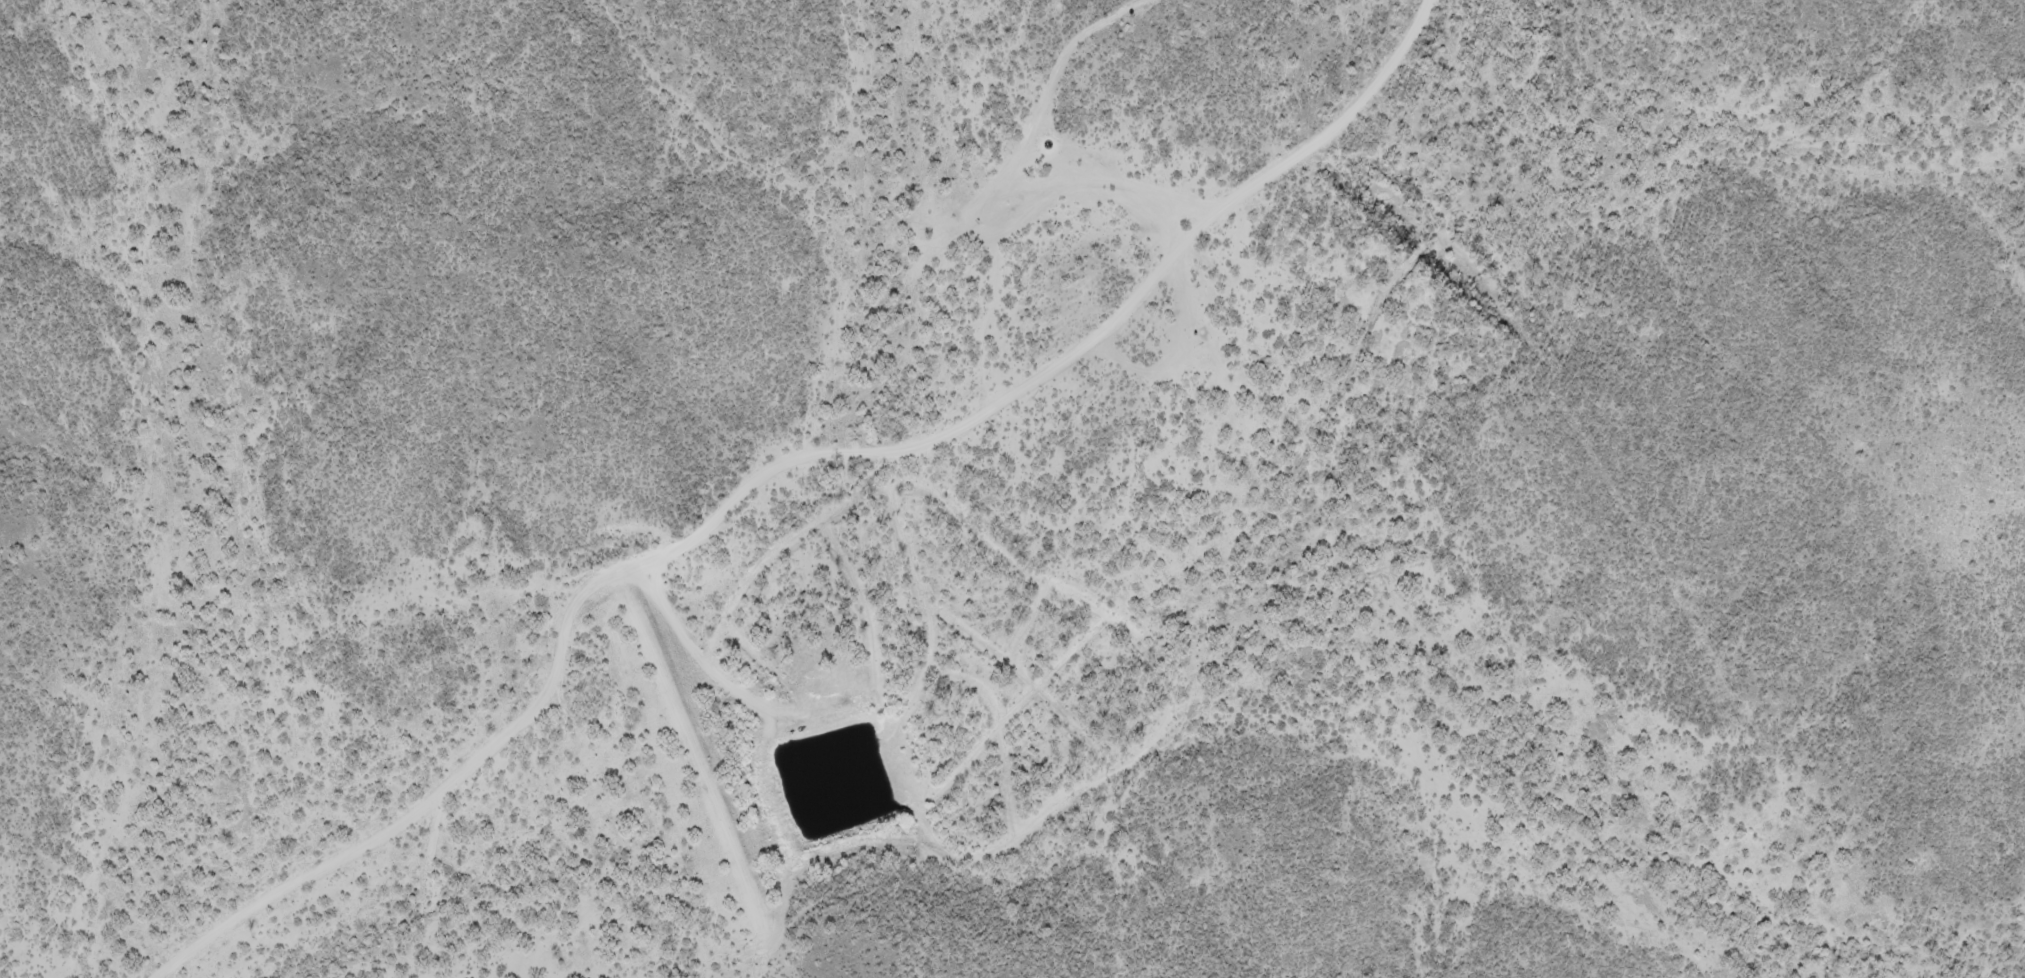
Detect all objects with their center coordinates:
road: (824, 519)

